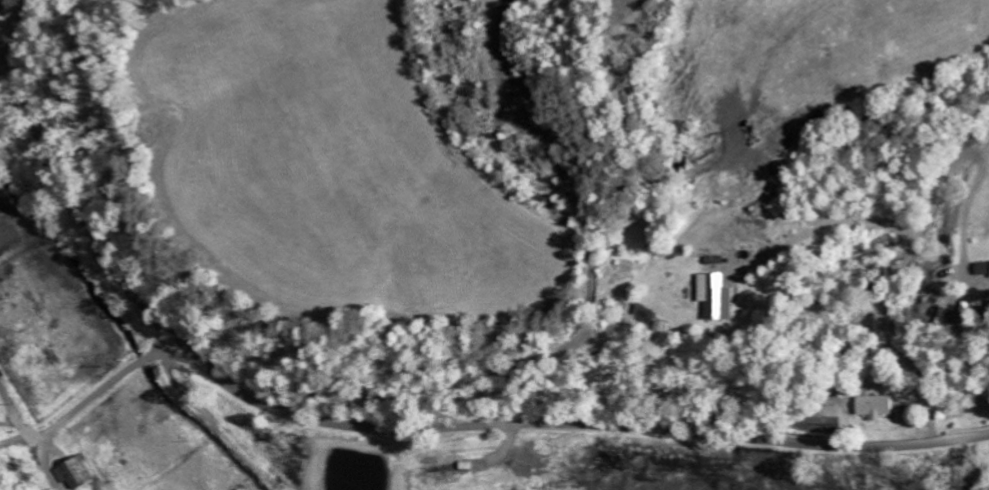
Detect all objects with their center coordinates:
road: (21, 5)
road: (14, 18)
building: (985, 269)
building: (722, 297)
road: (167, 333)
road: (96, 394)
building: (876, 406)
road: (402, 429)
building: (442, 470)
building: (77, 473)

